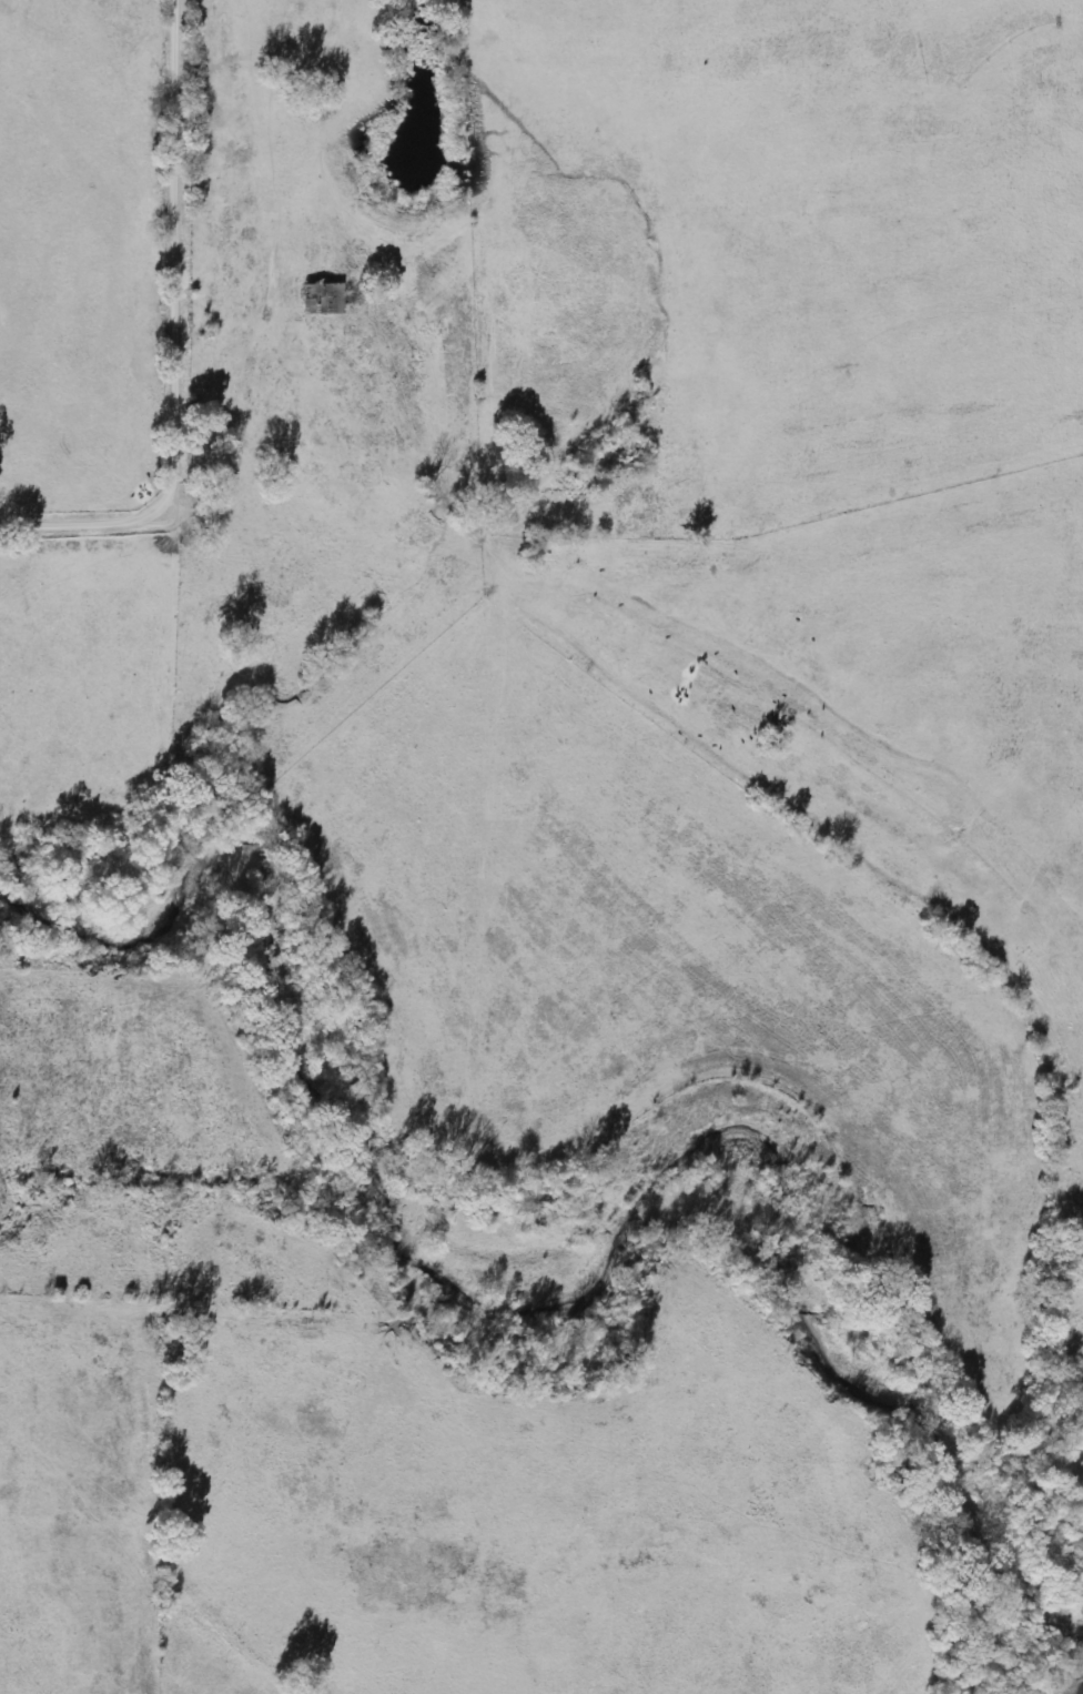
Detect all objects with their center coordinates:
building: (318, 299)
road: (179, 341)

